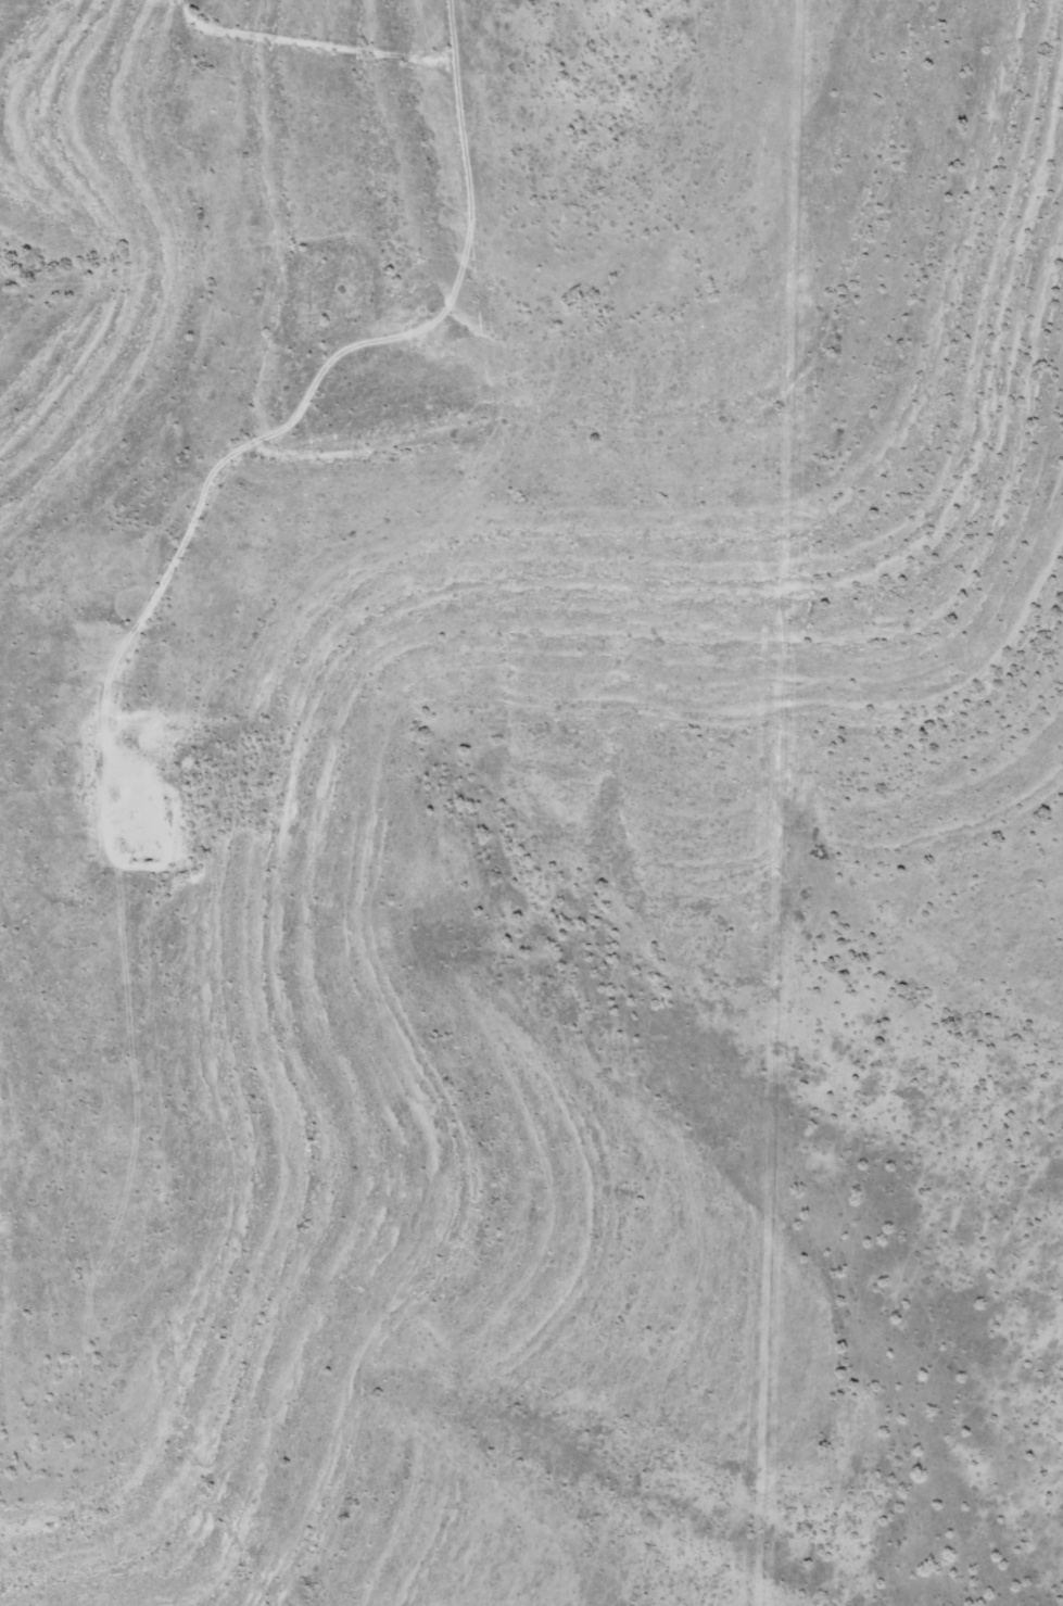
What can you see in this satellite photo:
road: (429, 199)

